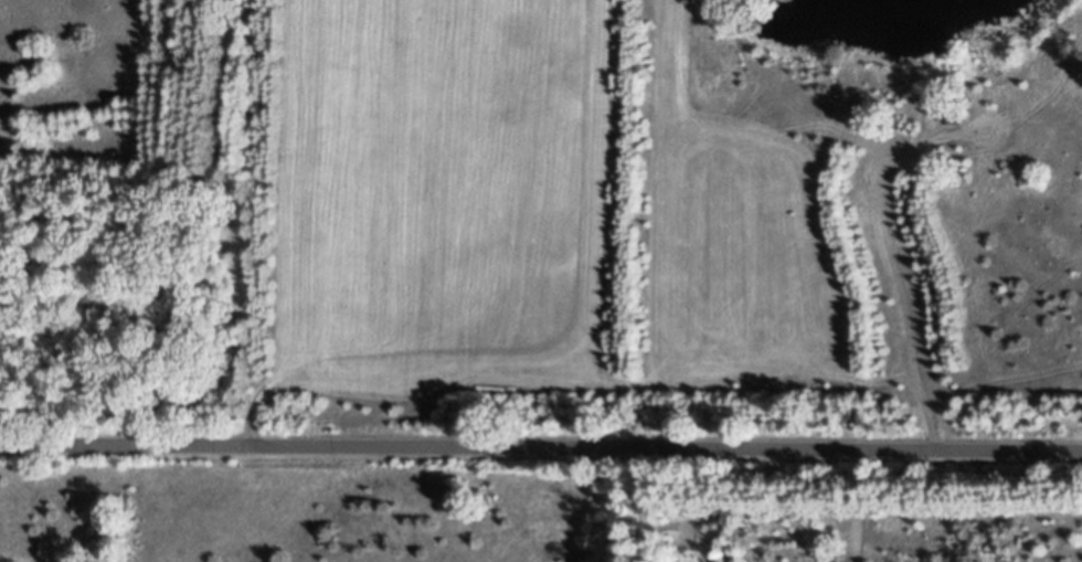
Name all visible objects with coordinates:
road: (541, 448)
road: (856, 506)

